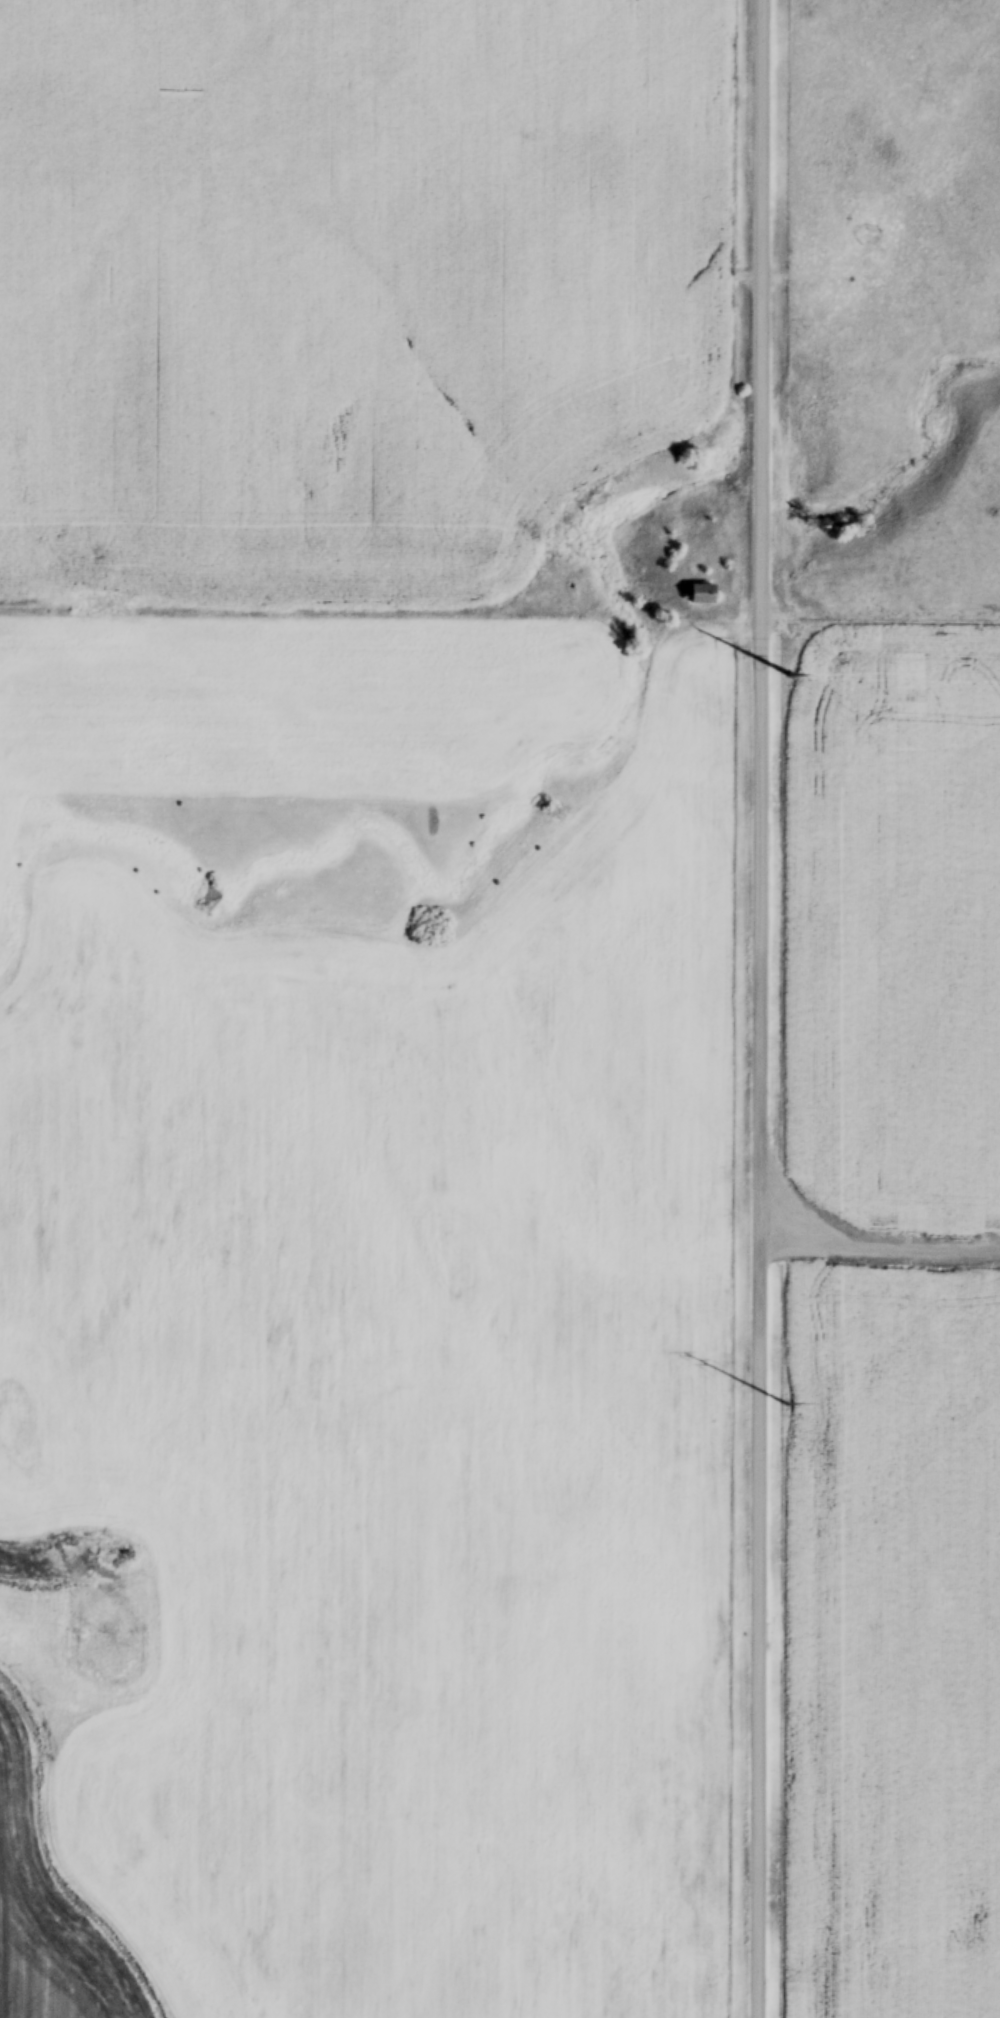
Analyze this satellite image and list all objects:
building: (703, 598)
power tower: (791, 678)
road: (759, 1008)
power tower: (788, 1408)

